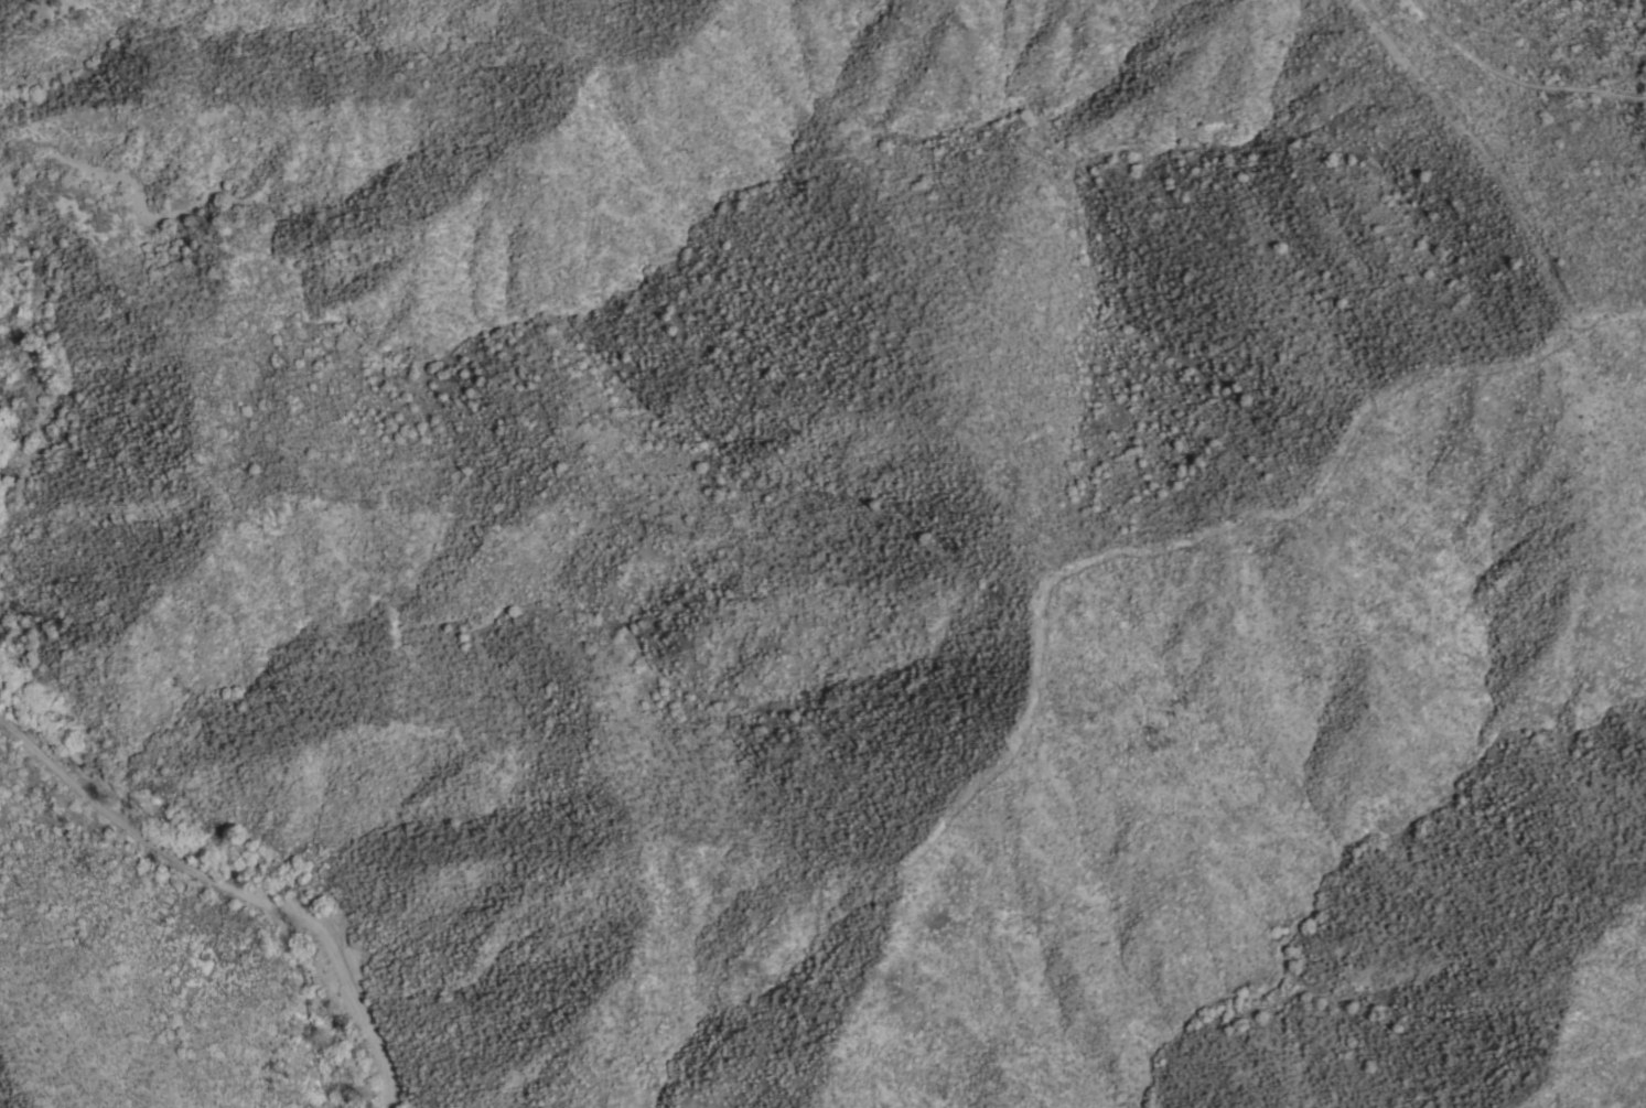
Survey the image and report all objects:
road: (1517, 74)
road: (236, 883)

